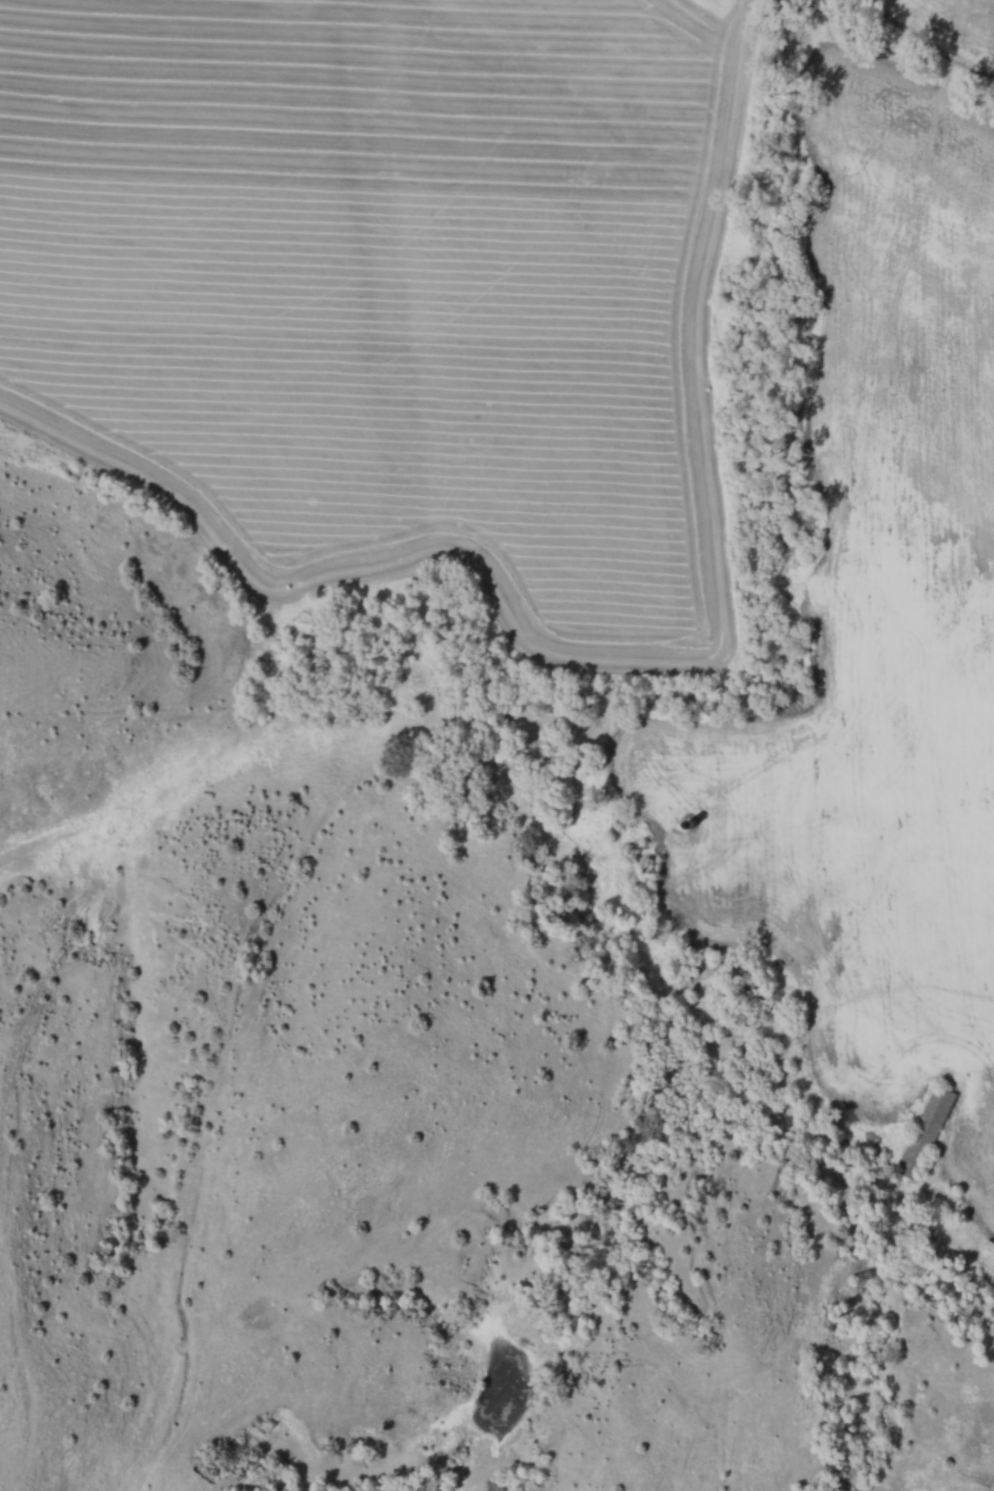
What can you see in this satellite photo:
building: (922, 1134)

